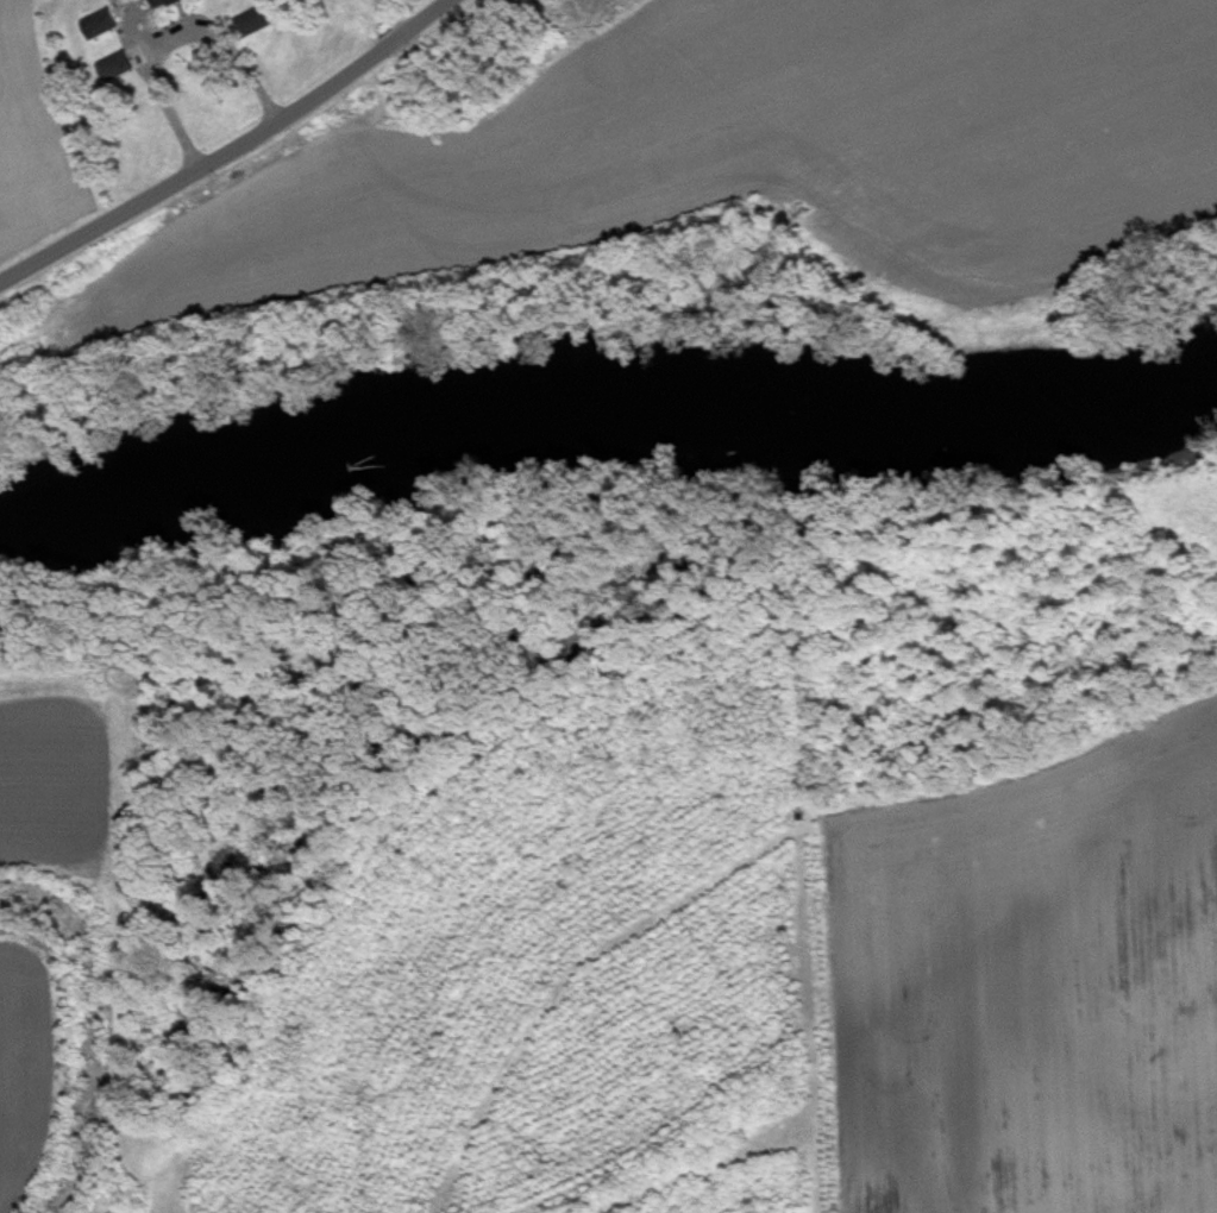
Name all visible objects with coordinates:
building: (174, 6)
building: (261, 30)
road: (174, 37)
road: (233, 151)
river: (606, 401)

